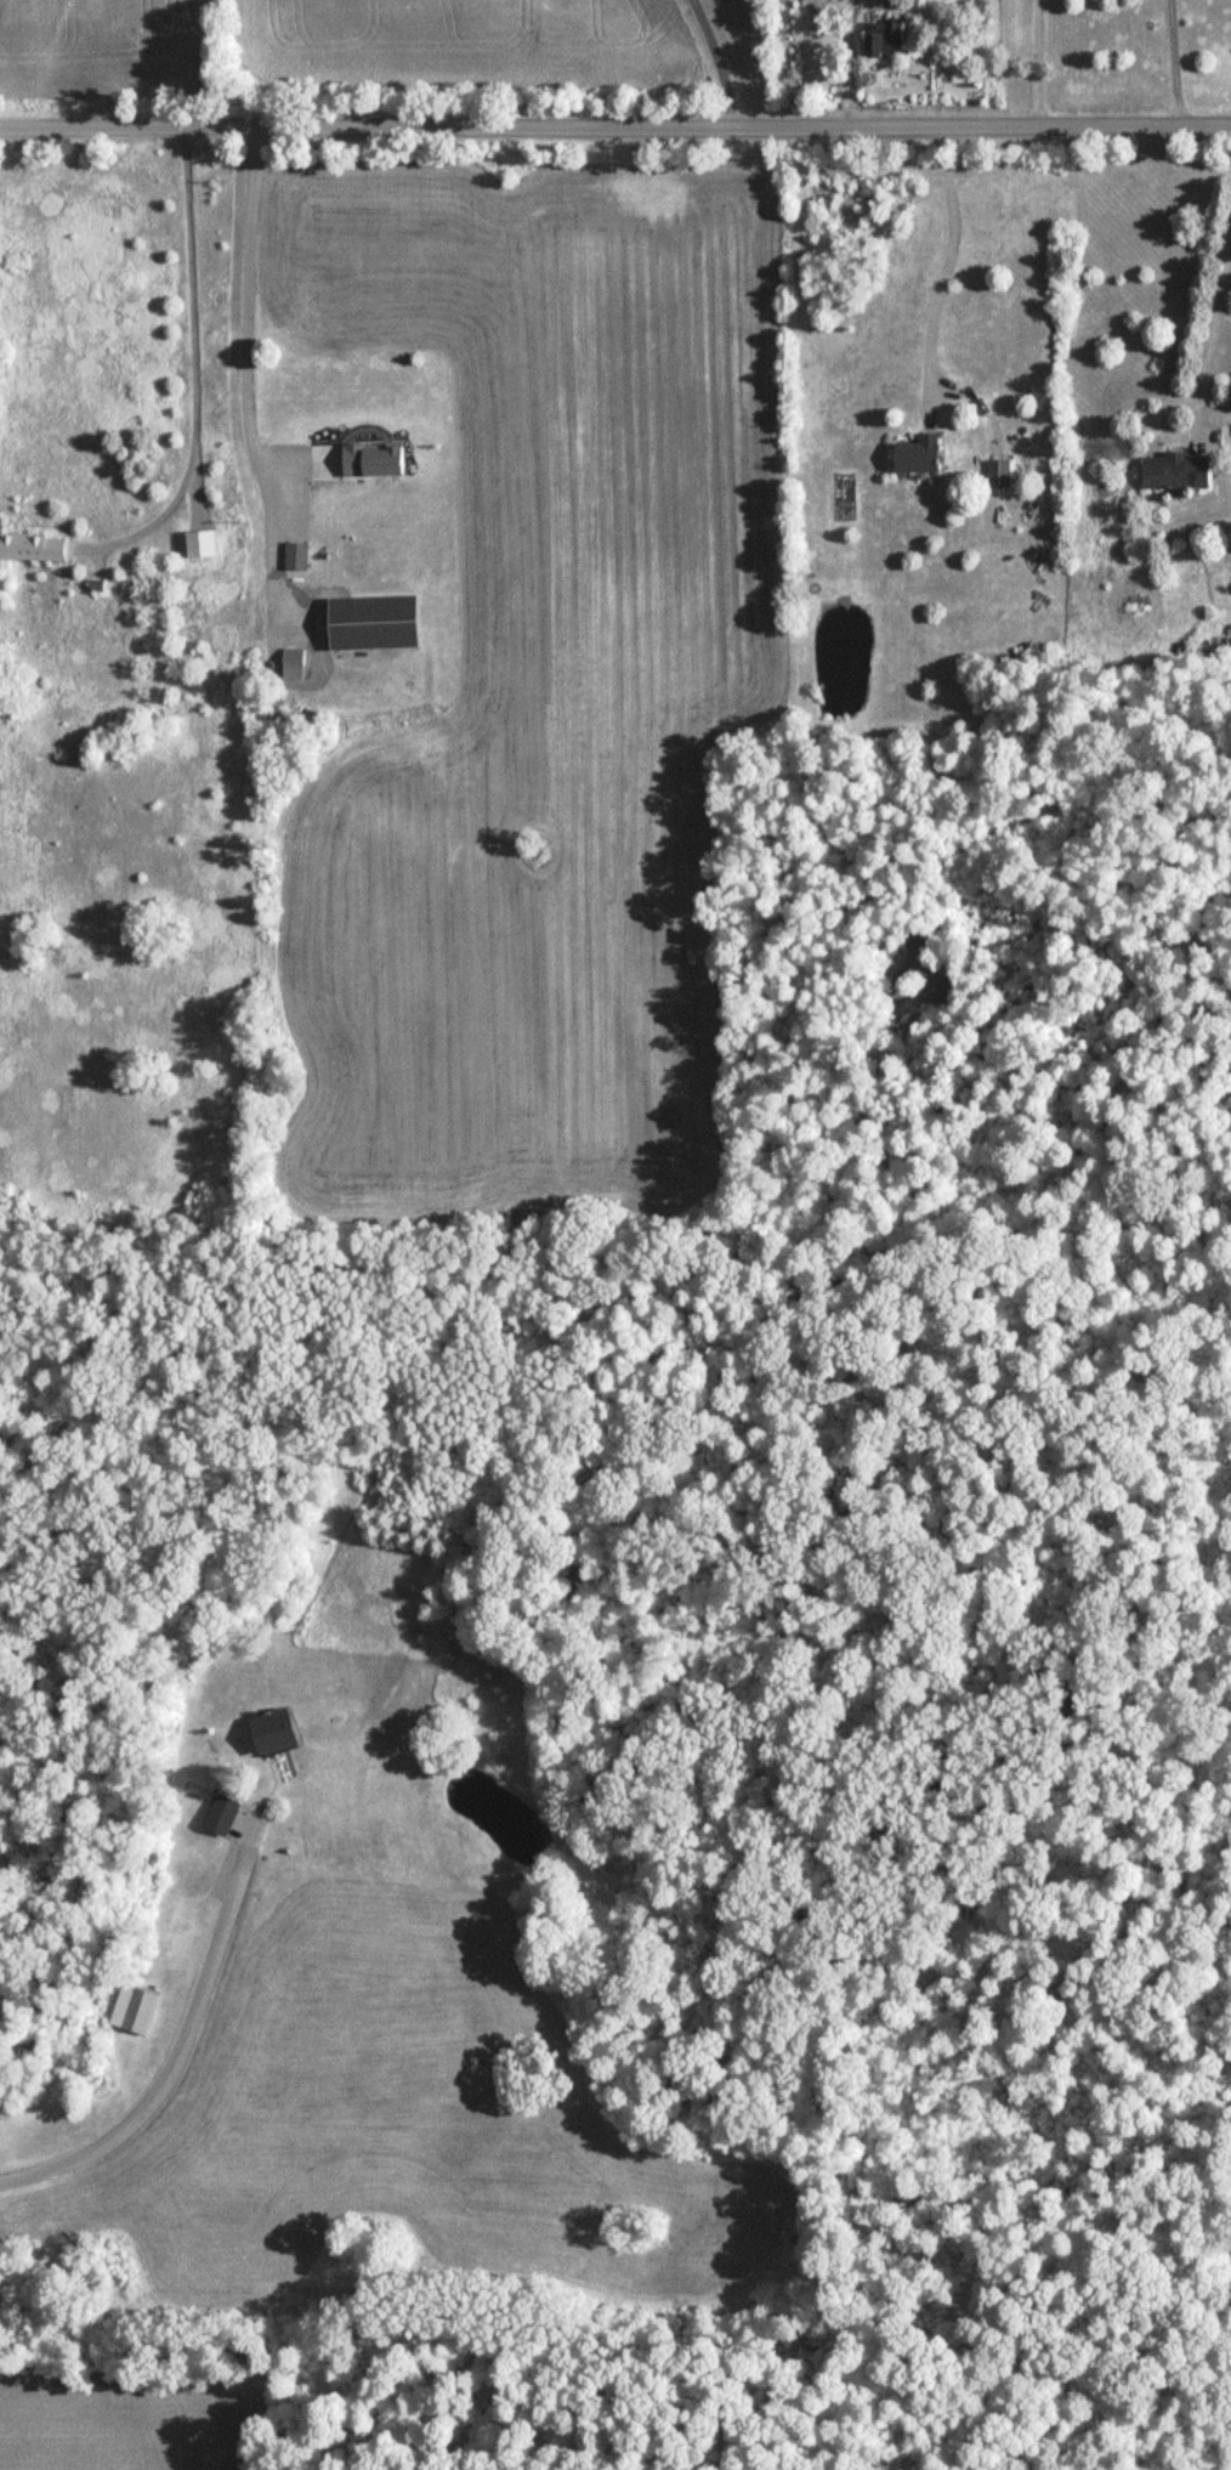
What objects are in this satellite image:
building: (880, 43)
road: (717, 60)
road: (1038, 61)
road: (1175, 61)
road: (615, 124)
road: (948, 249)
road: (1215, 334)
road: (194, 366)
road: (248, 378)
building: (914, 457)
building: (380, 461)
building: (1172, 472)
building: (997, 476)
building: (32, 550)
building: (295, 557)
building: (370, 624)
building: (263, 1733)
building: (217, 1817)
building: (132, 2011)
road: (178, 2052)

